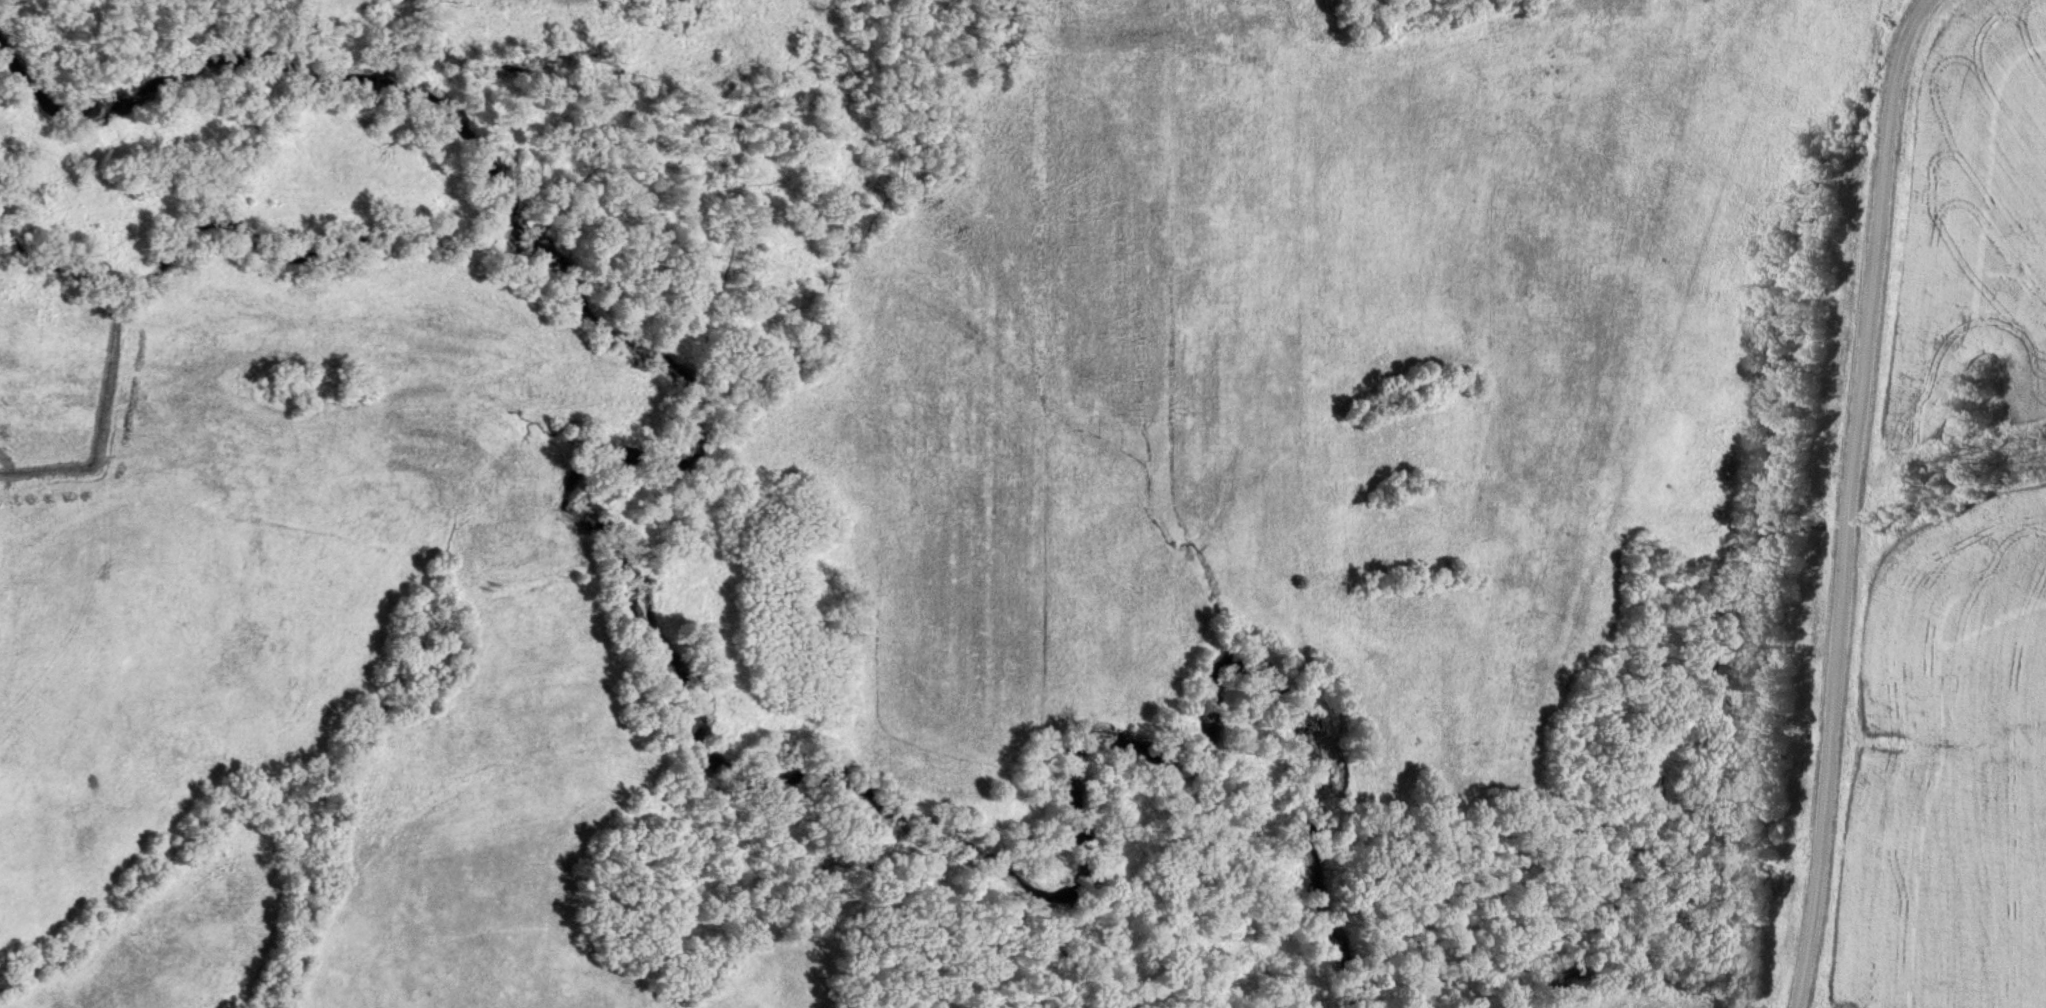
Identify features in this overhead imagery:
road: (1853, 500)

